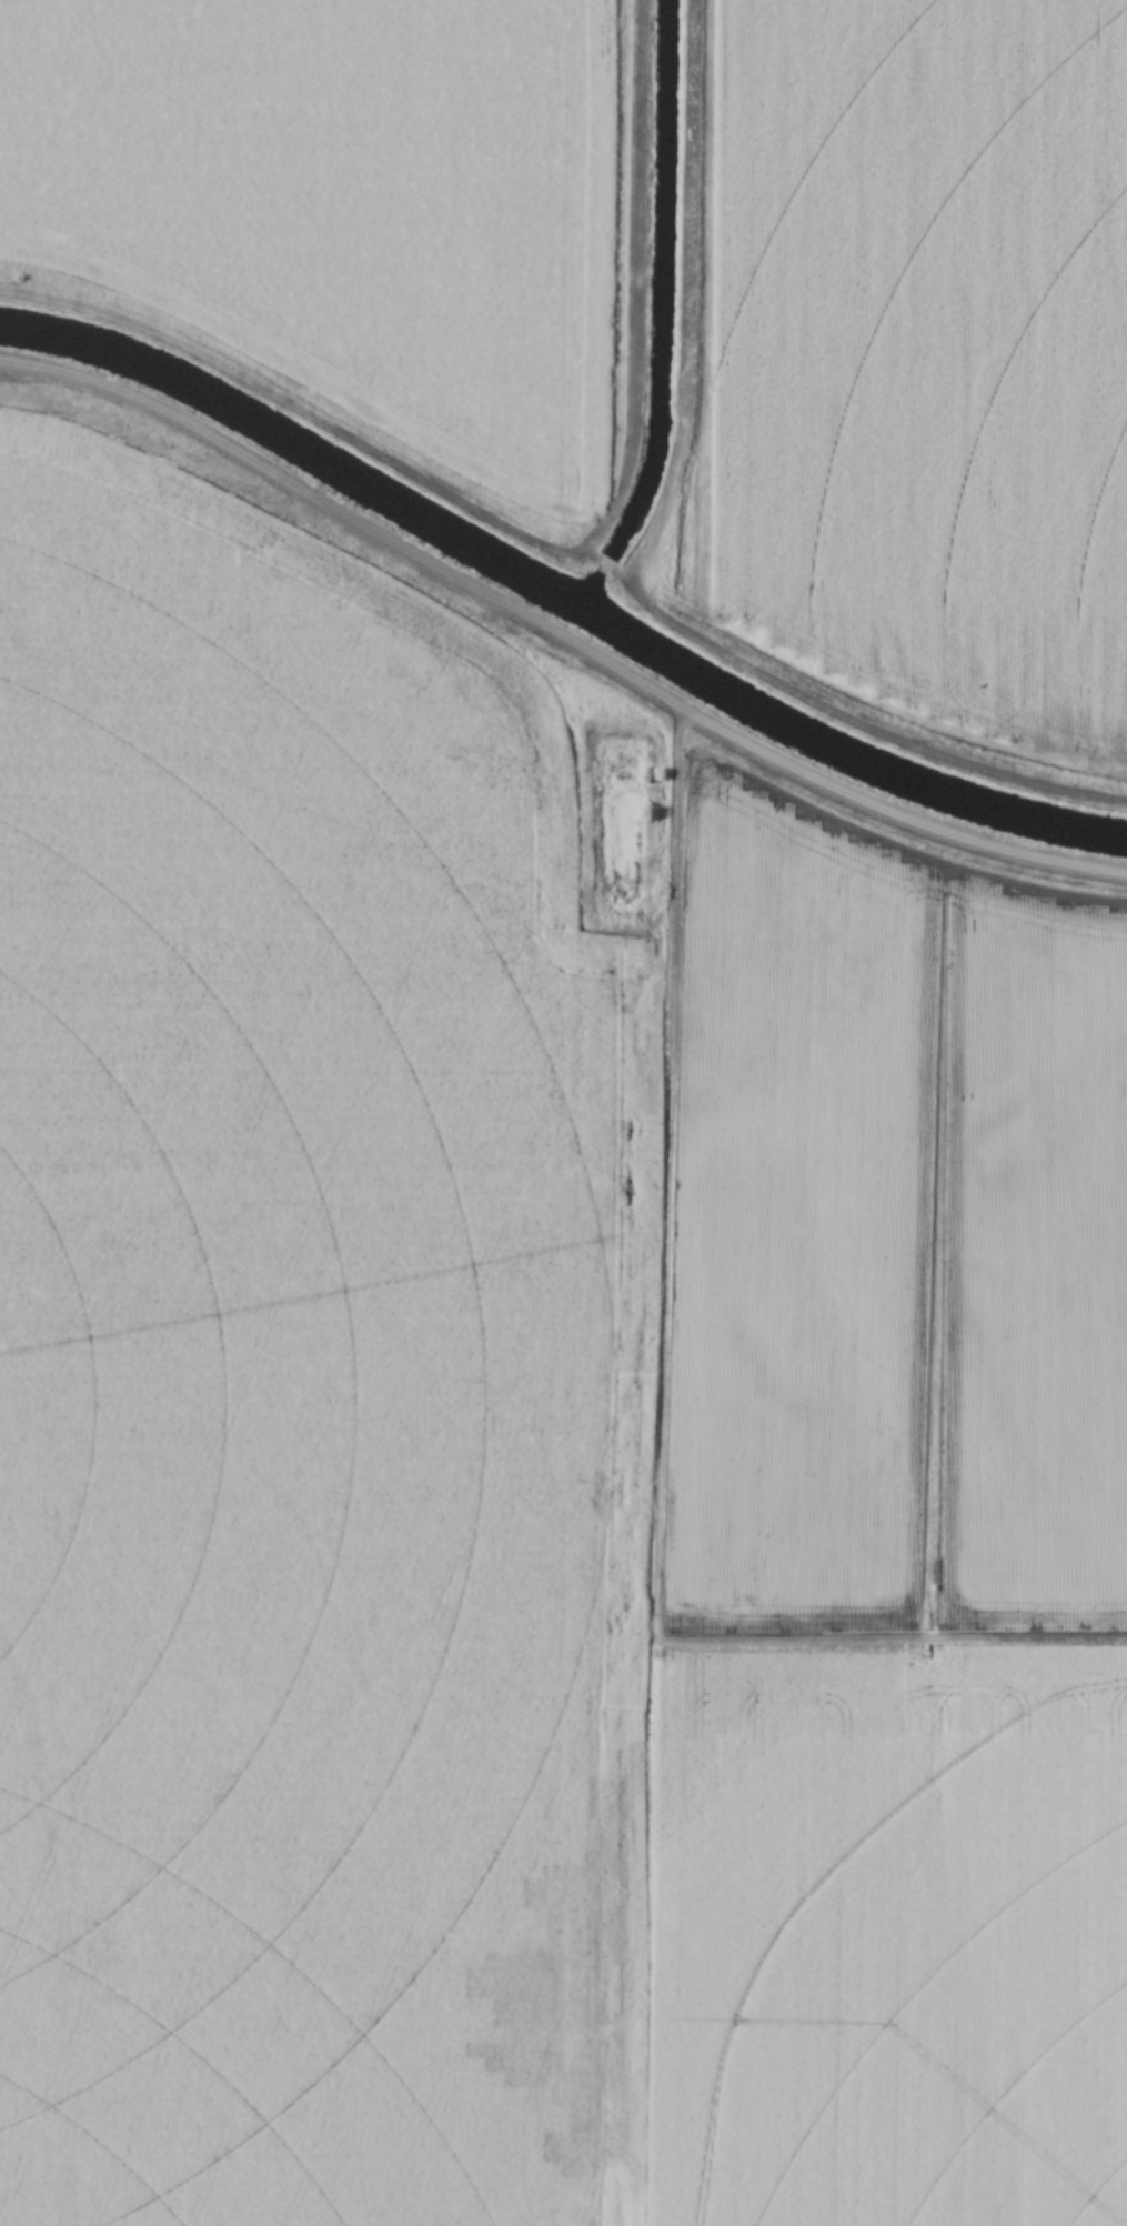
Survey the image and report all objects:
road: (555, 636)

